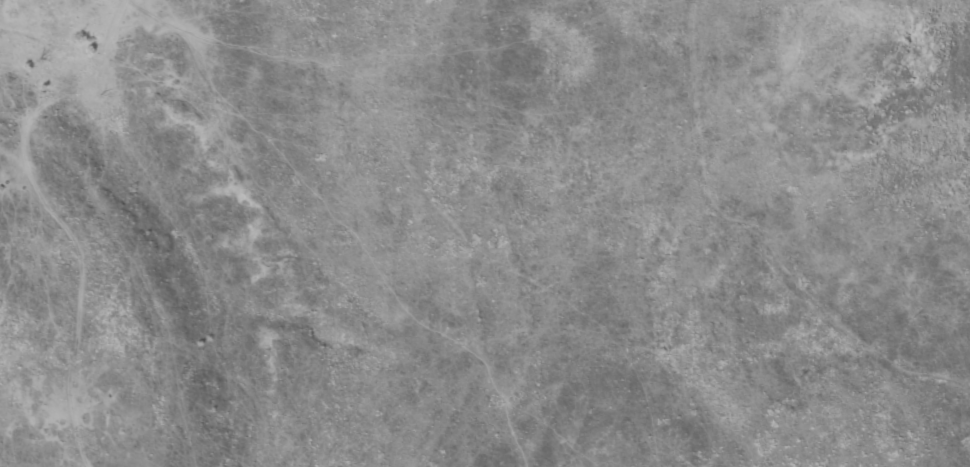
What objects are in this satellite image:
road: (717, 209)

